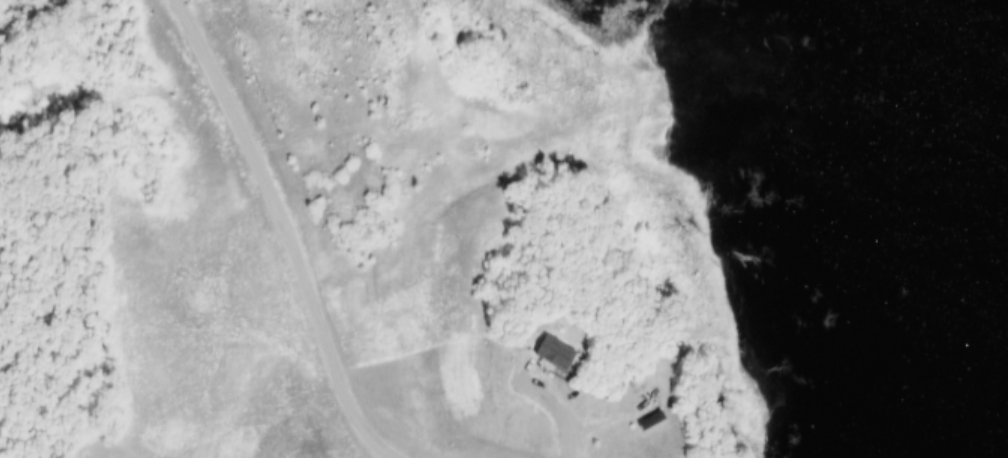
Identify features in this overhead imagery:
road: (288, 230)
building: (534, 349)
building: (554, 355)
road: (544, 407)
building: (631, 416)

